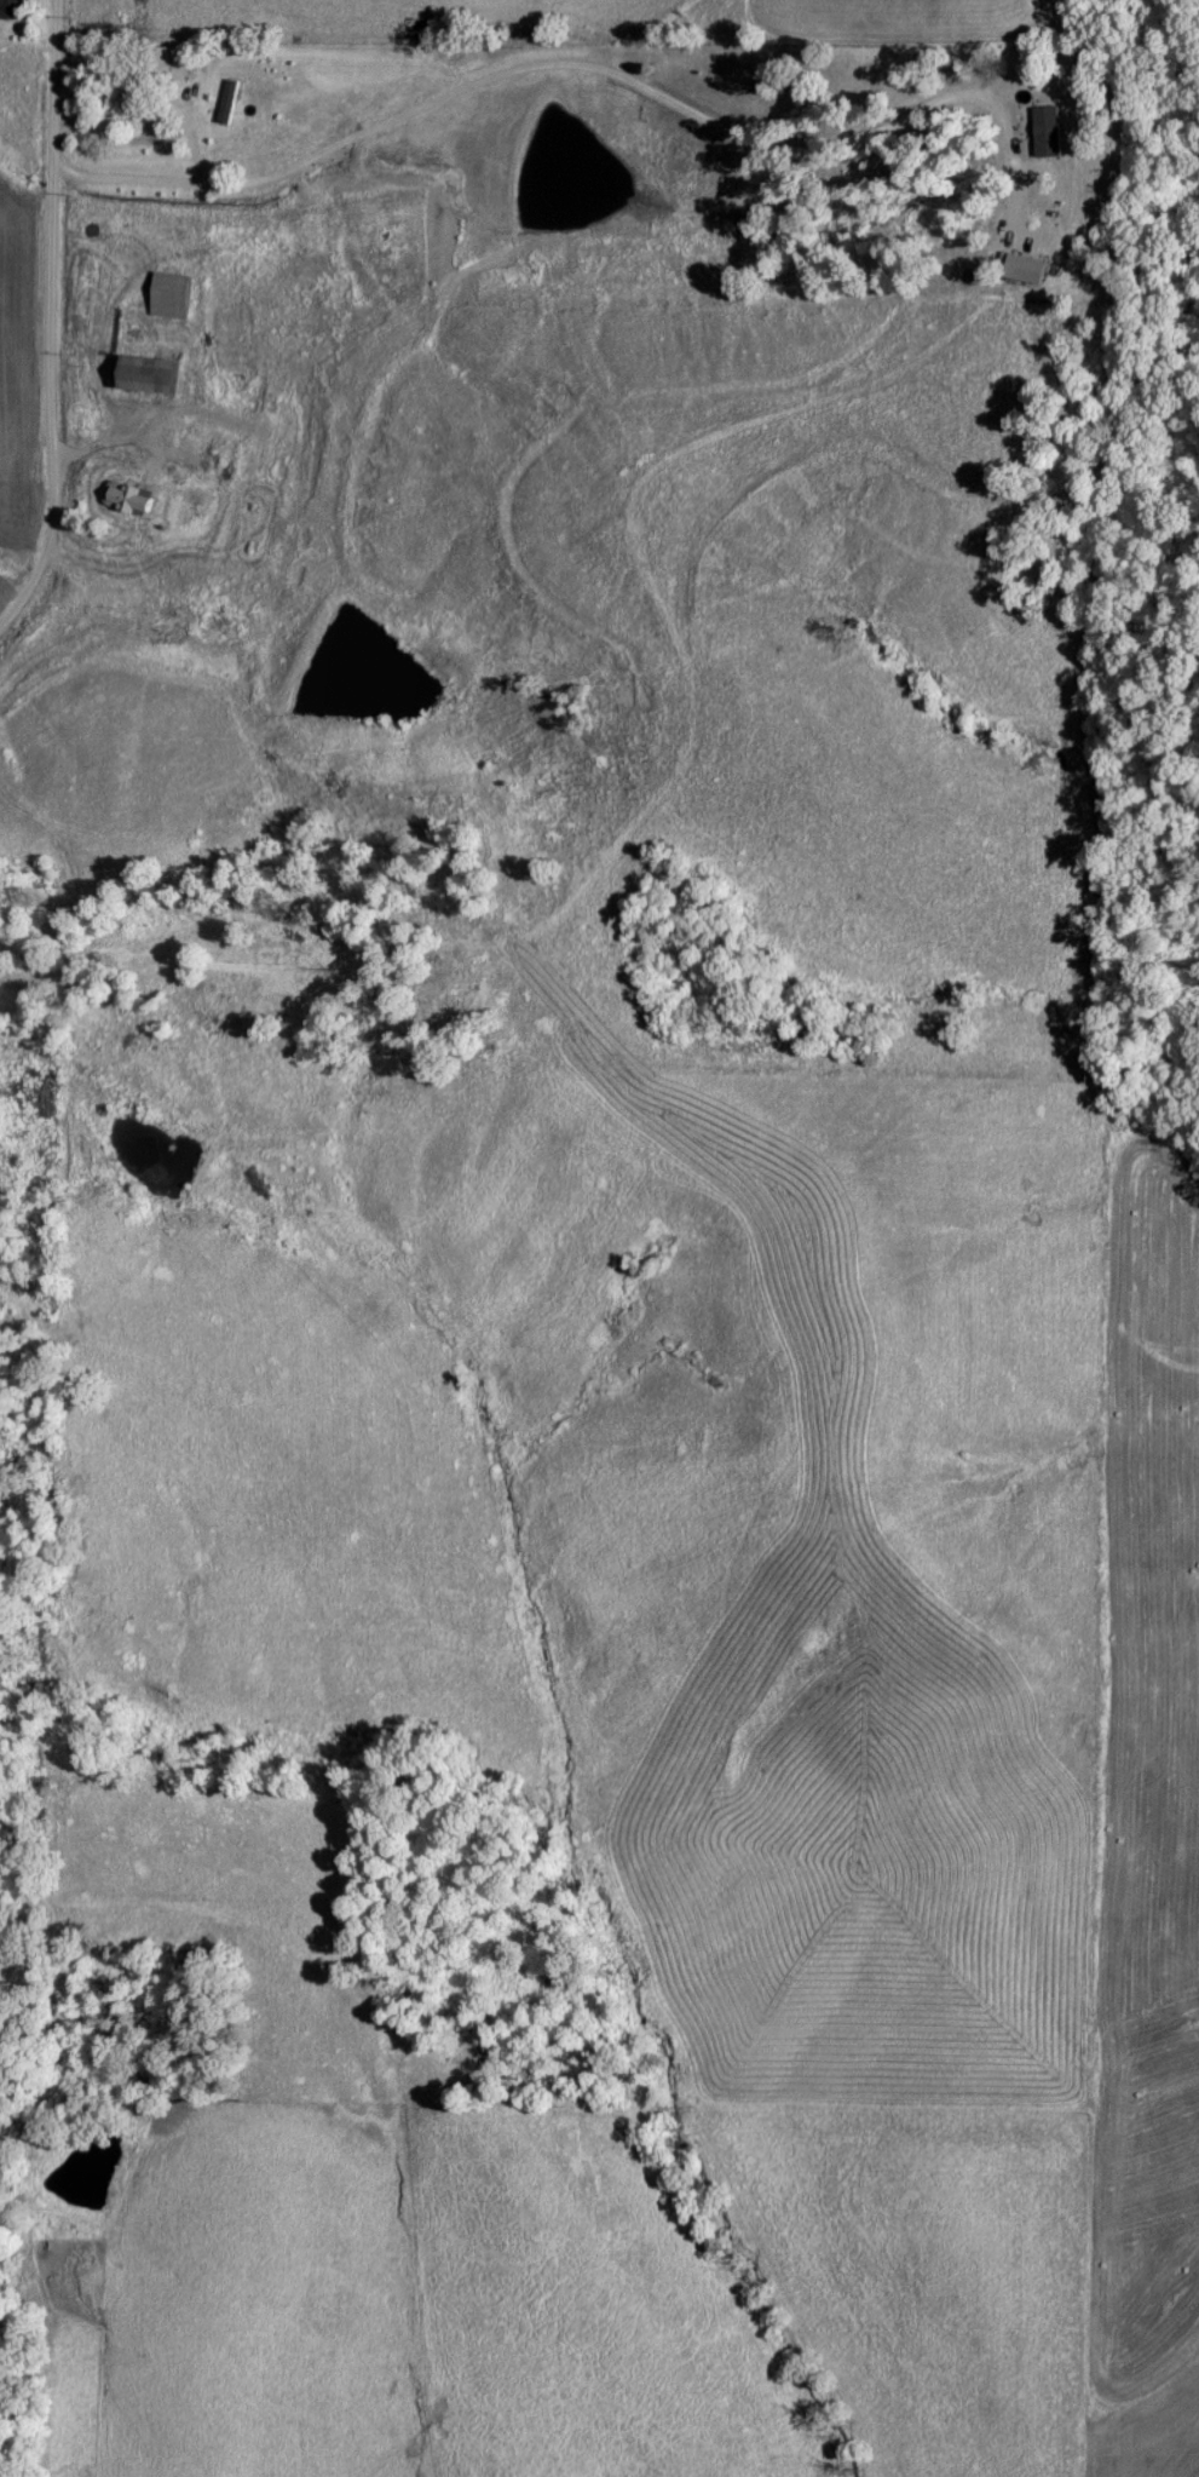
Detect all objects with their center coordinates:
building: (11, 8)
building: (168, 61)
road: (578, 65)
building: (126, 103)
building: (271, 157)
building: (168, 293)
road: (50, 316)
building: (146, 373)
building: (231, 396)
building: (83, 423)
building: (192, 430)
building: (253, 464)
building: (215, 465)
building: (126, 498)

